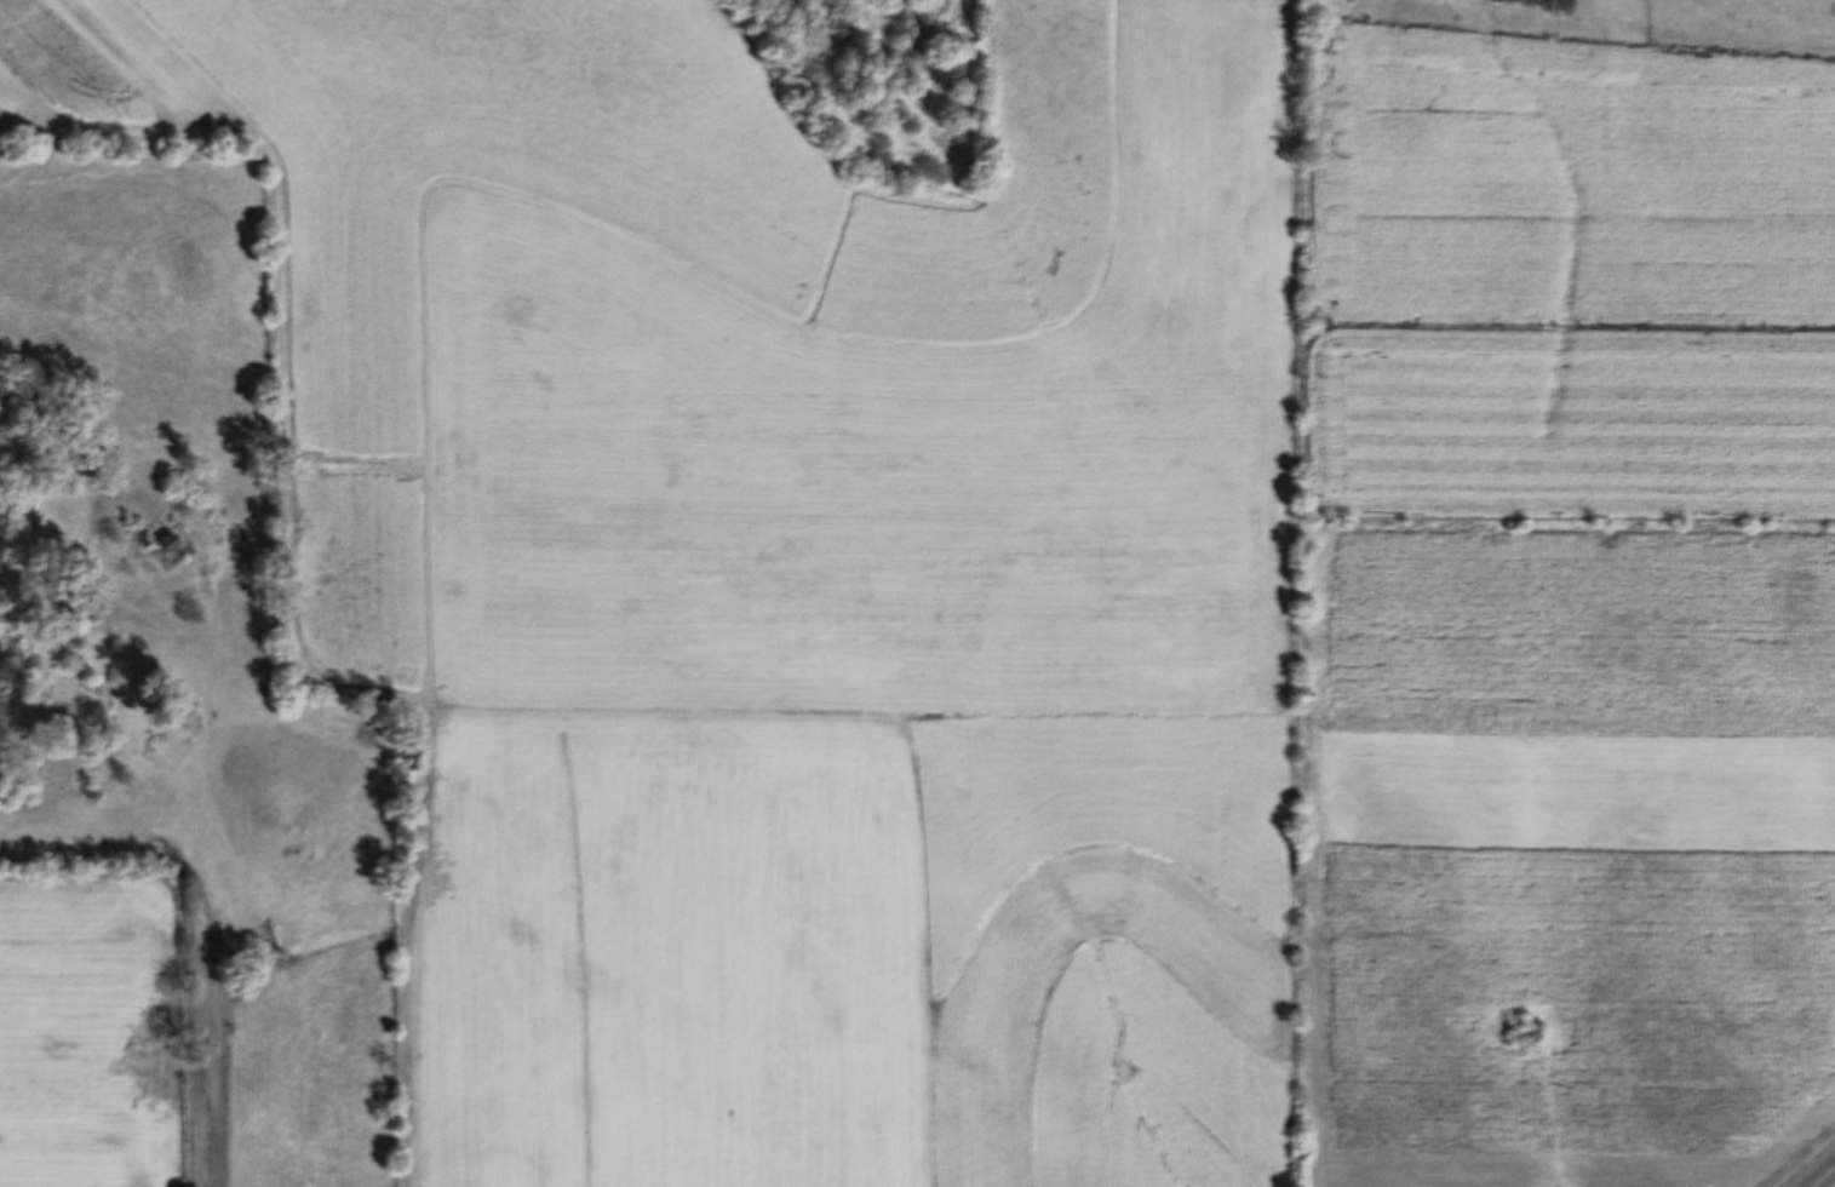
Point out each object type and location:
road: (1829, 1181)

